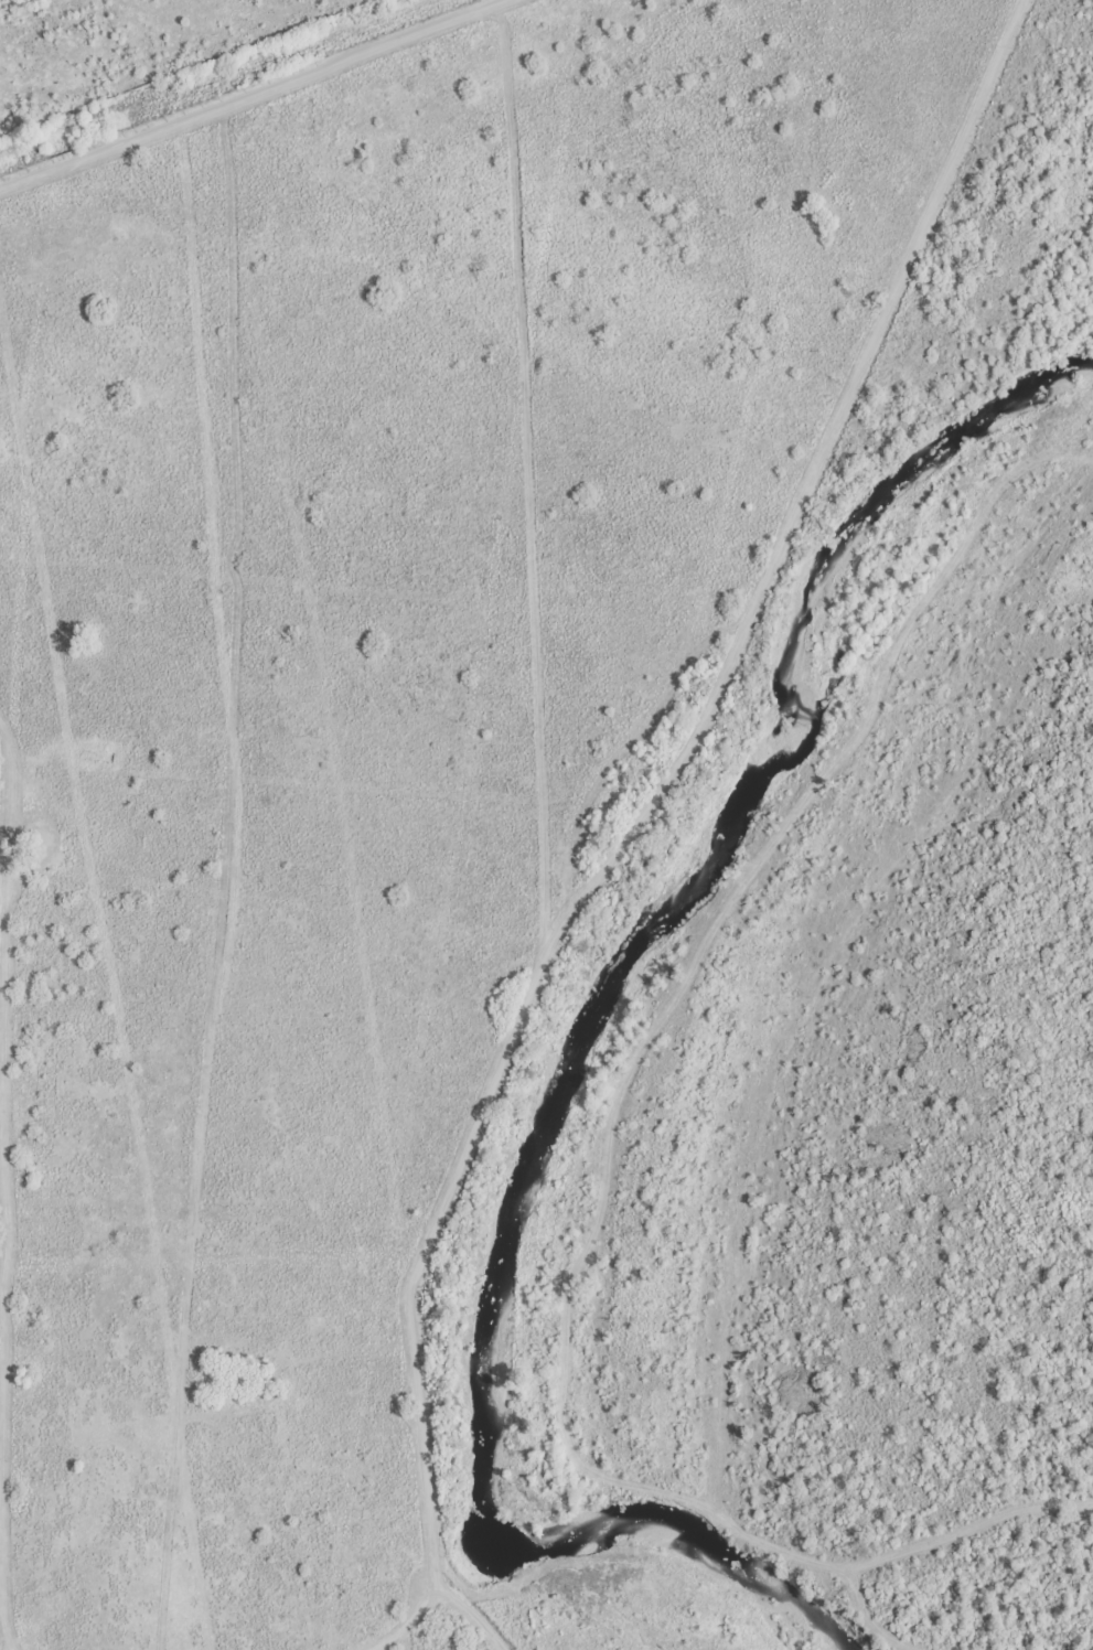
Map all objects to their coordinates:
road: (232, 85)
road: (3, 849)
river: (590, 1039)

